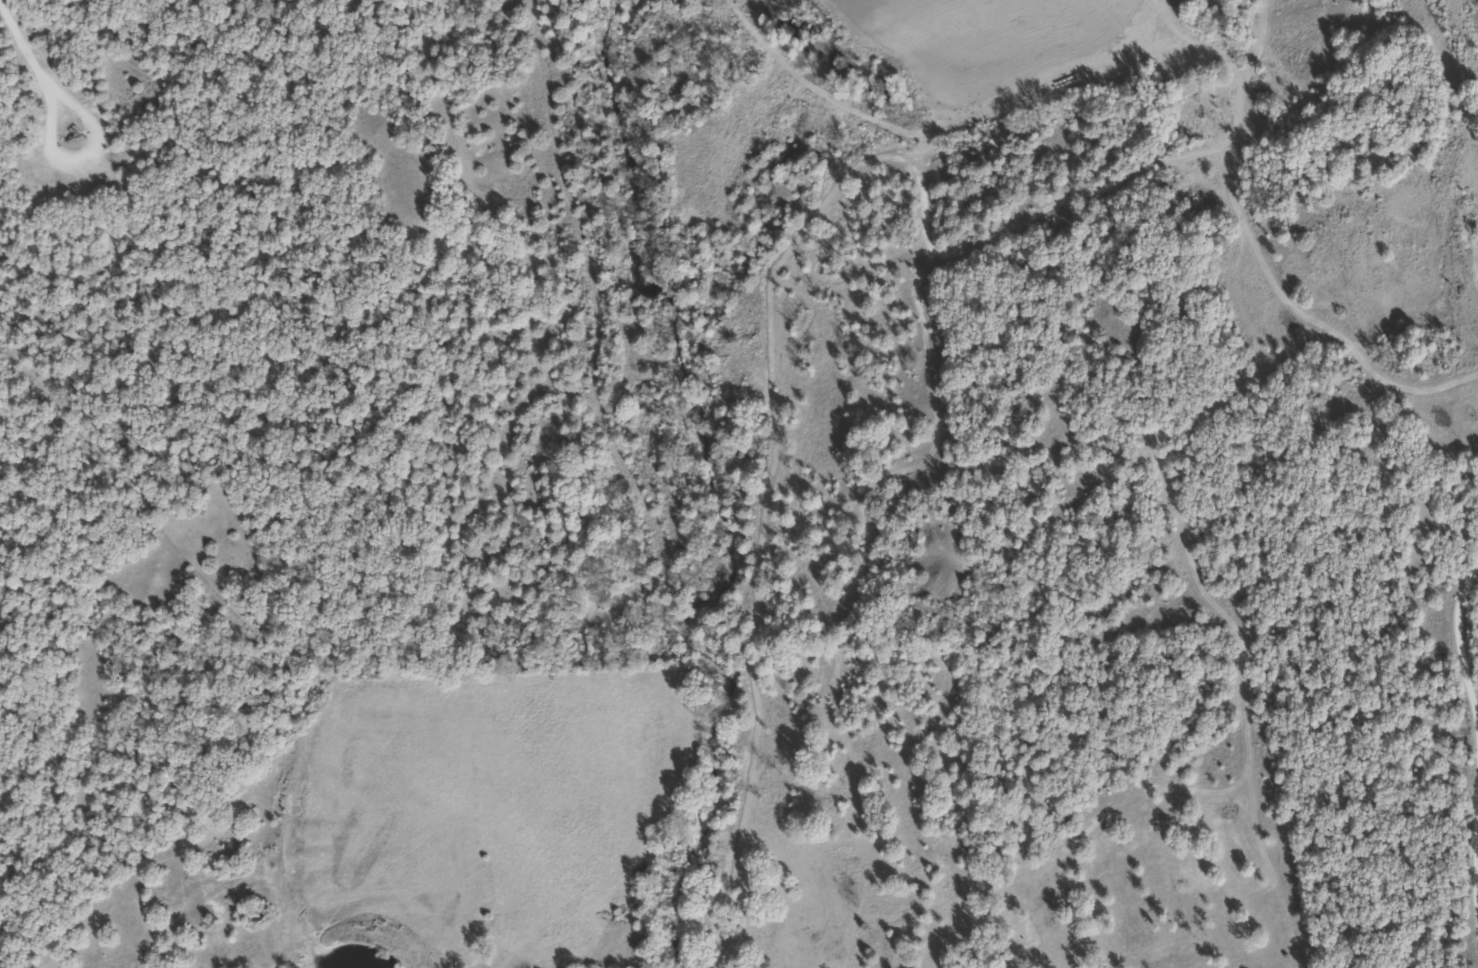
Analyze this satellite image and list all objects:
road: (44, 59)
road: (1477, 608)

